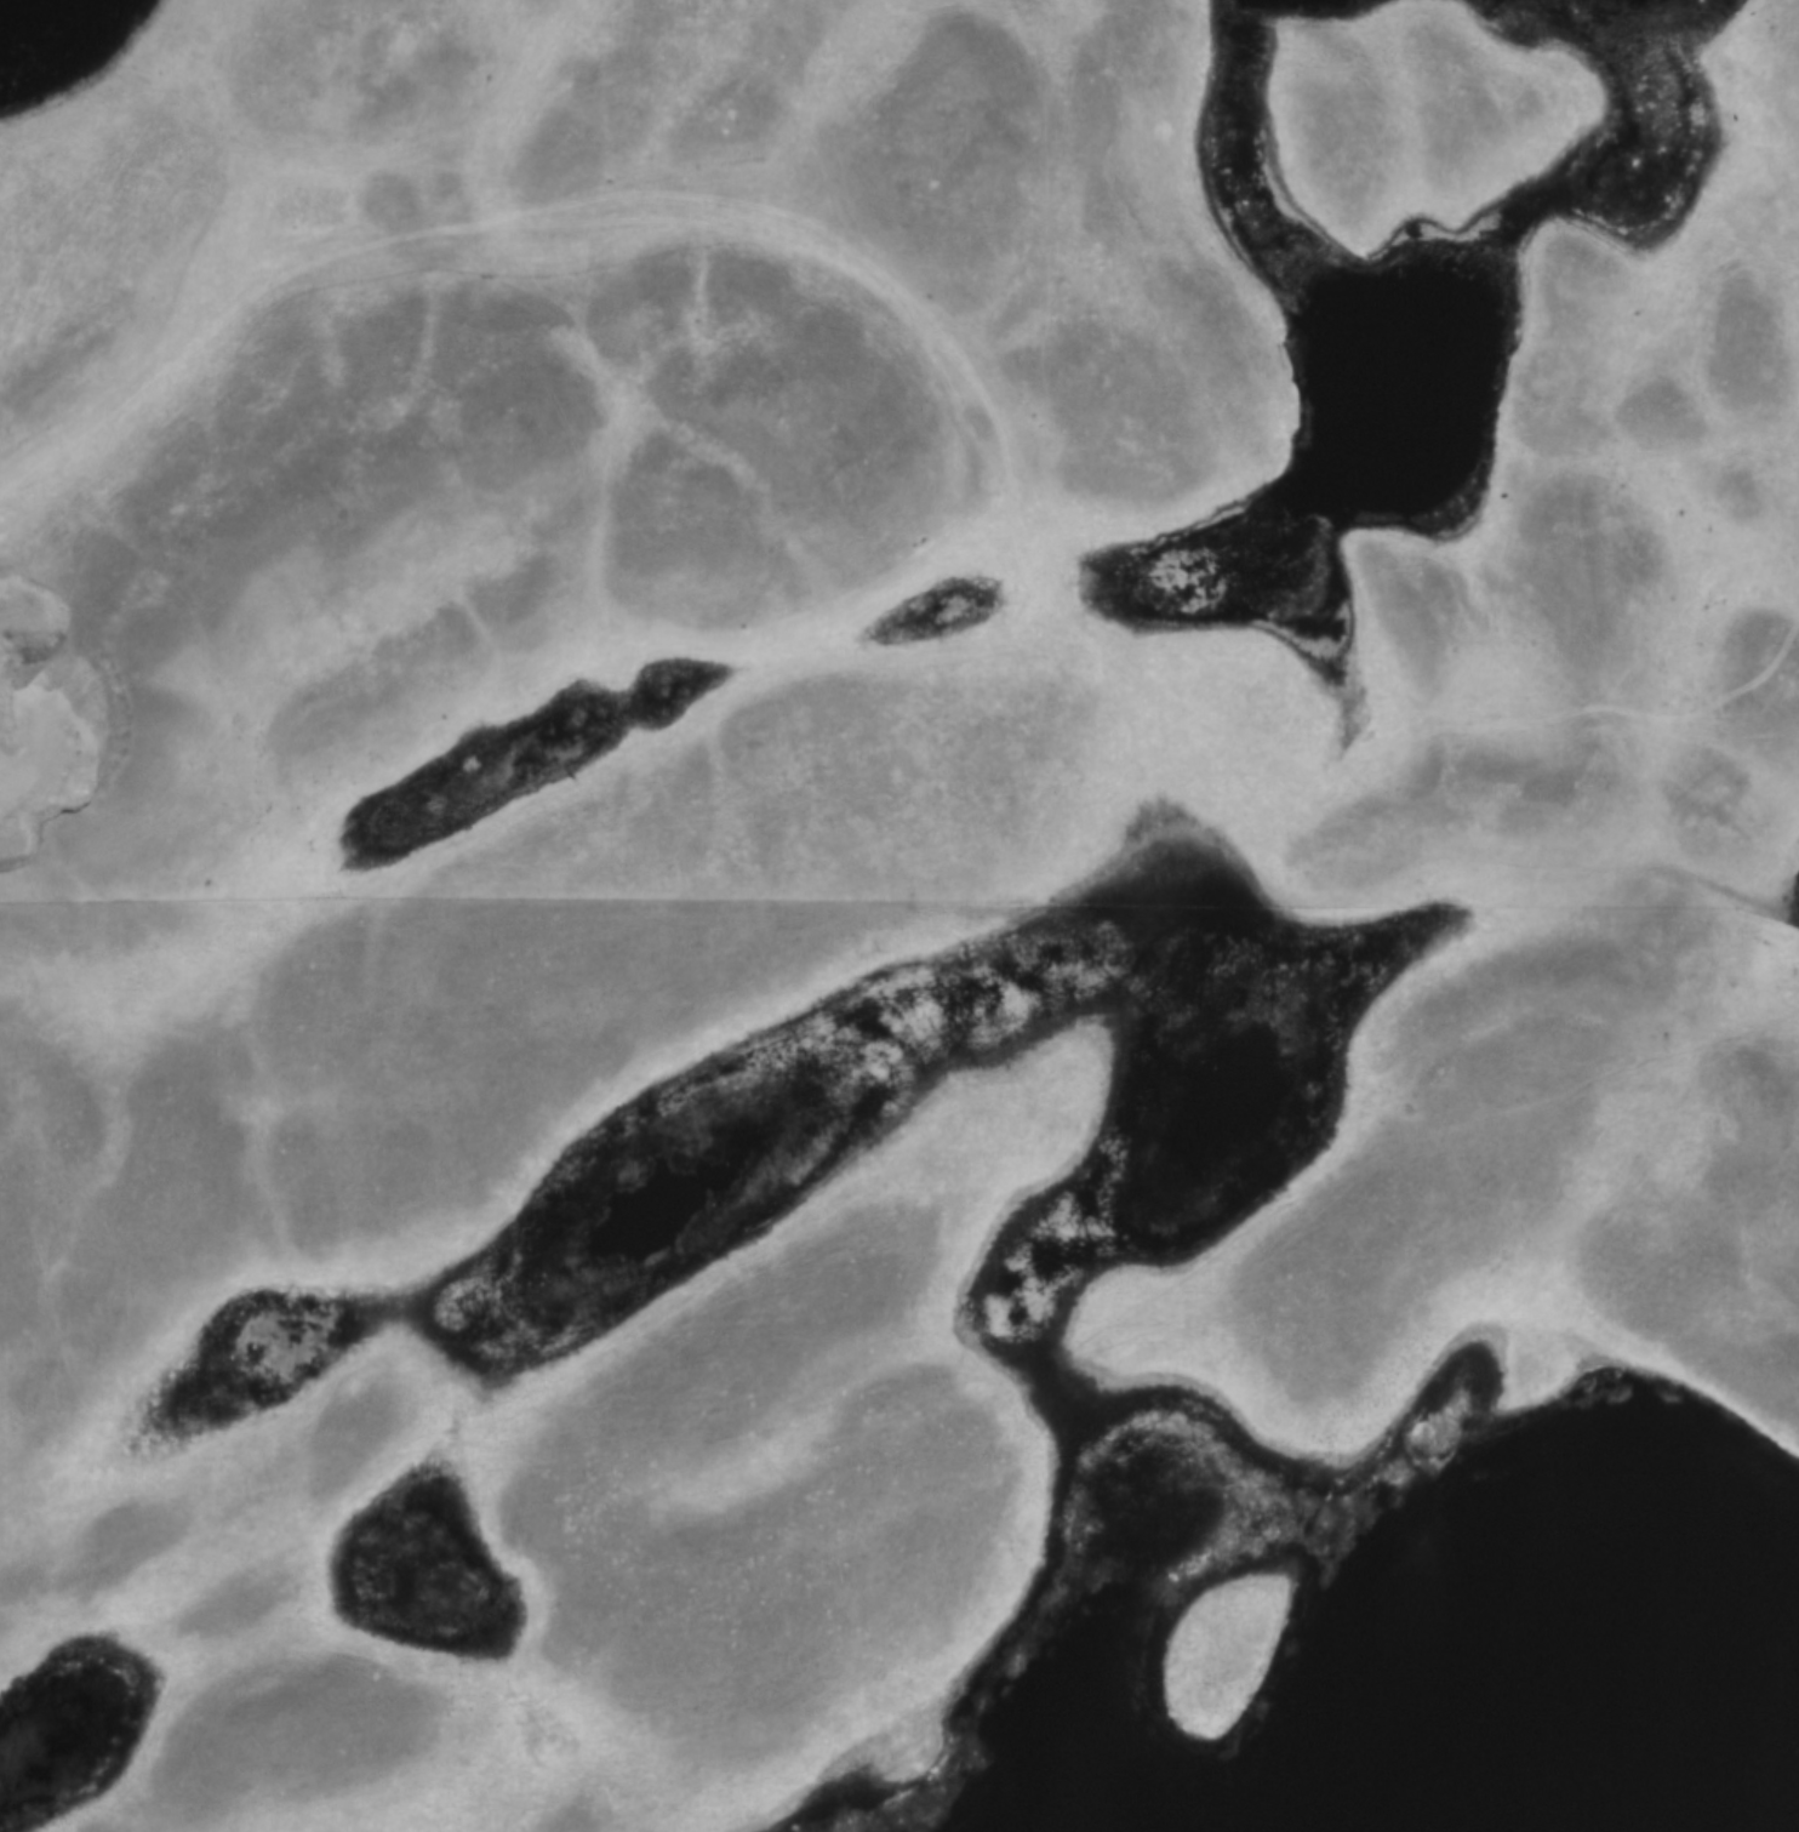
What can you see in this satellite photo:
quarry: (42, 717)

